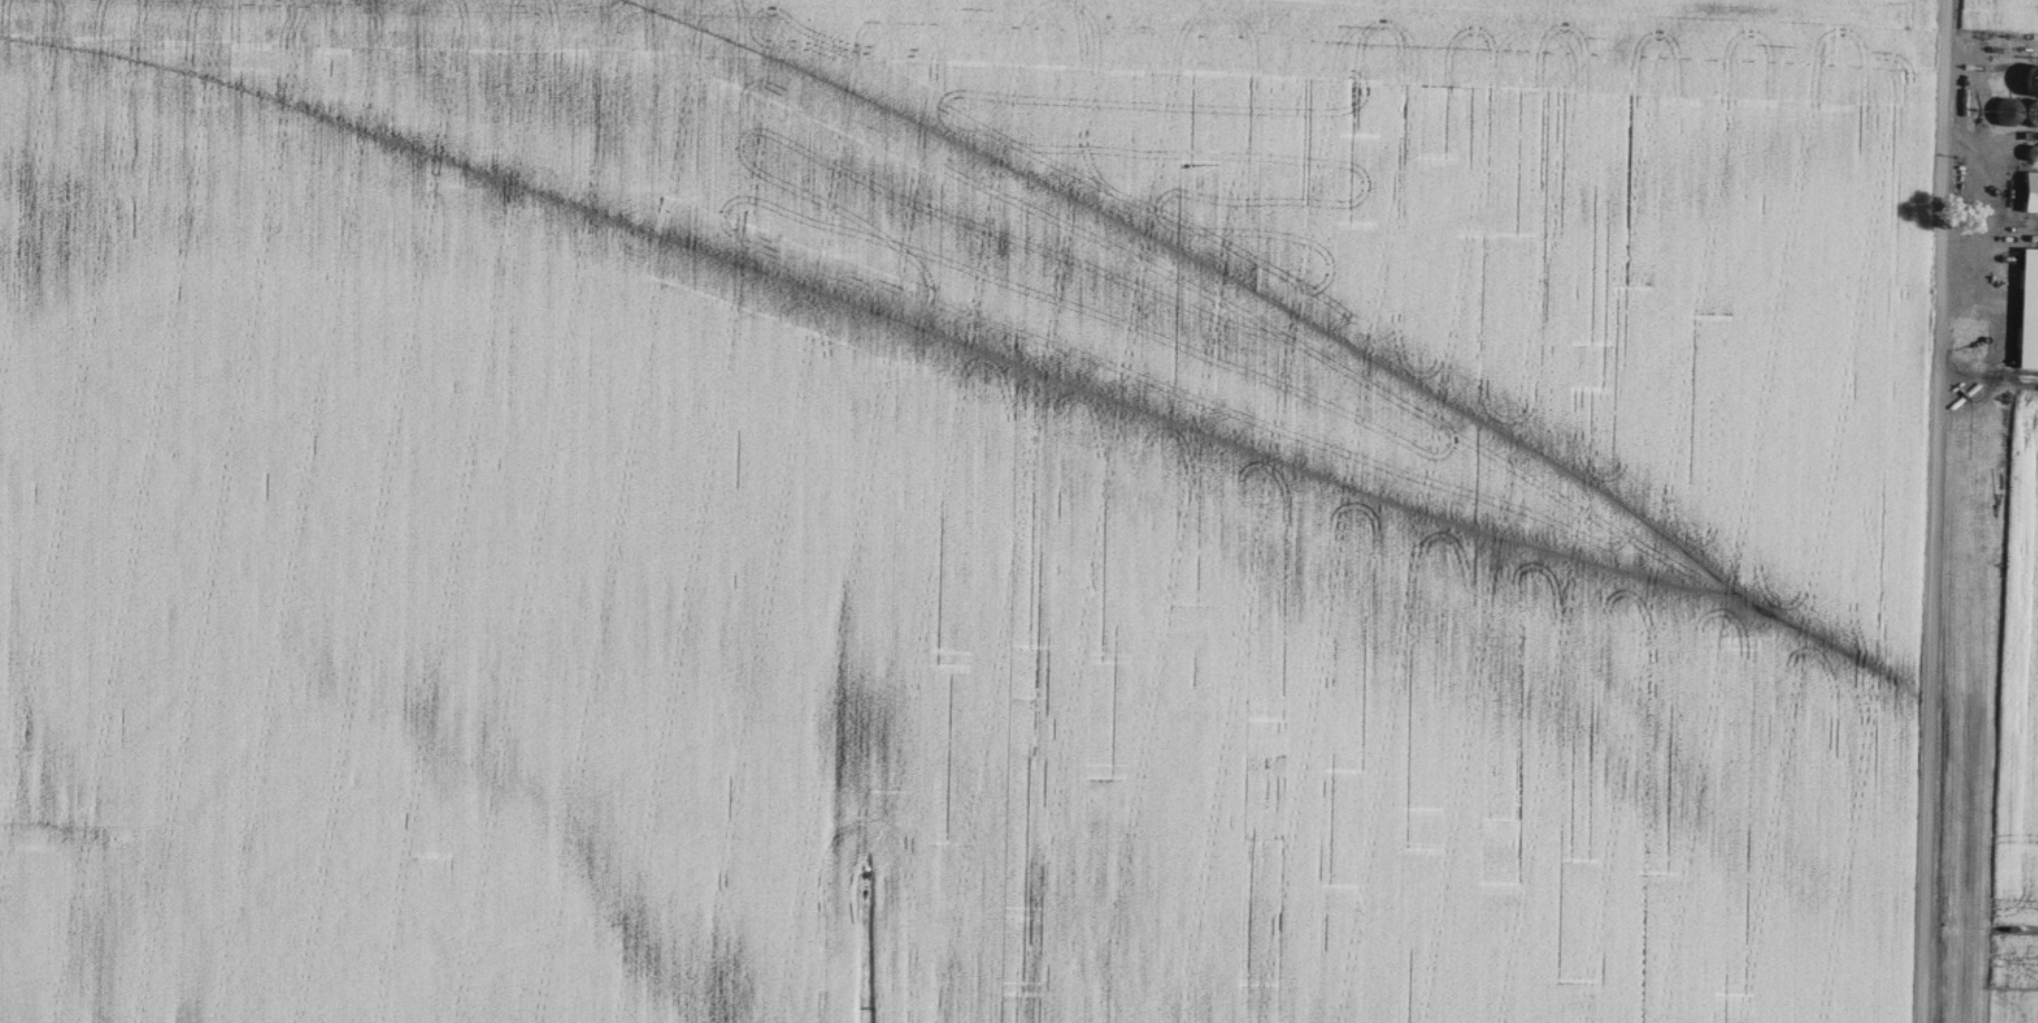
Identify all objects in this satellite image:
building: (2004, 112)
building: (2031, 115)
building: (2030, 154)
building: (2029, 193)
building: (2026, 311)
road: (1934, 511)

